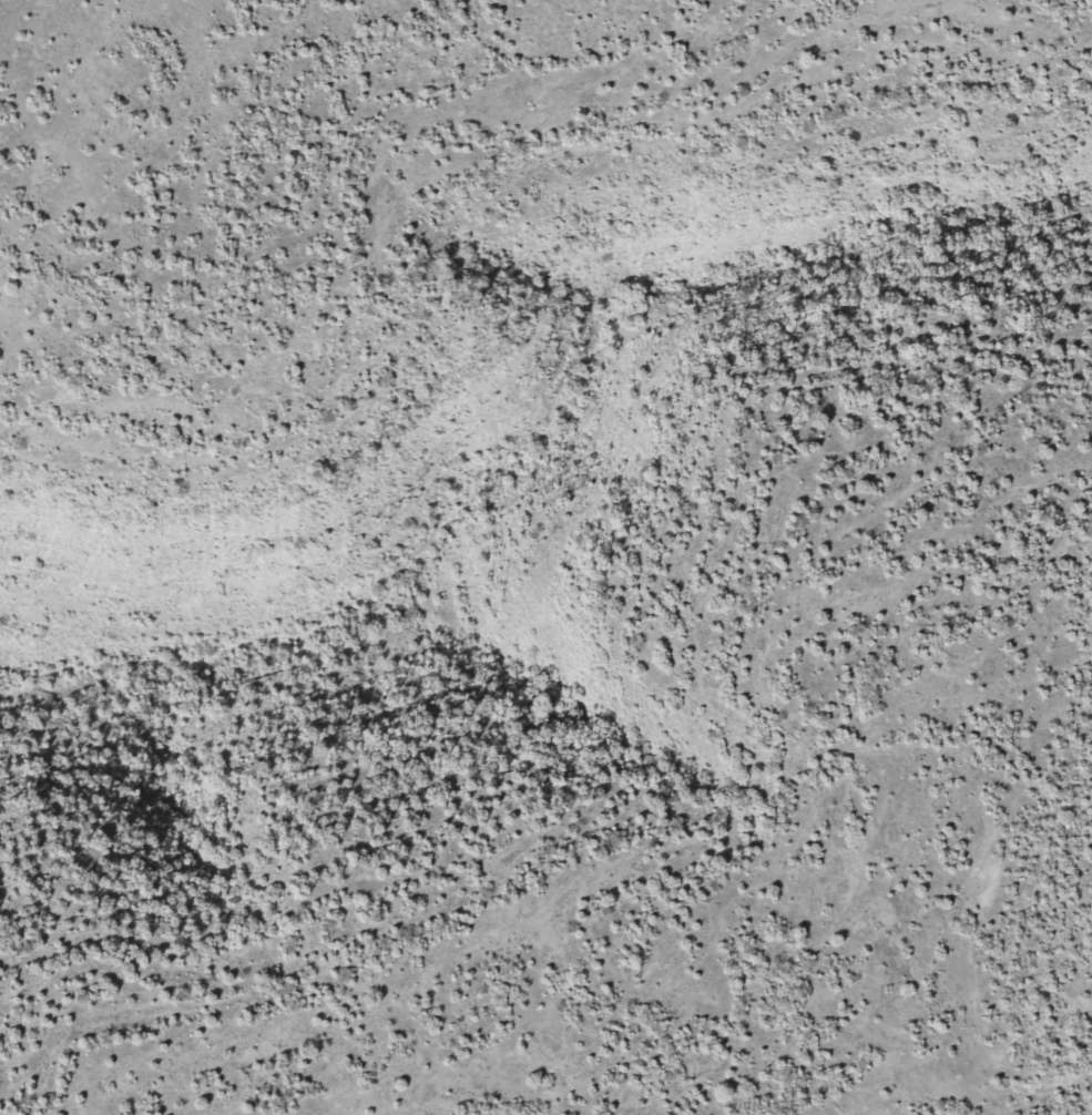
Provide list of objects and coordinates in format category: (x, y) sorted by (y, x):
road: (971, 1090)

